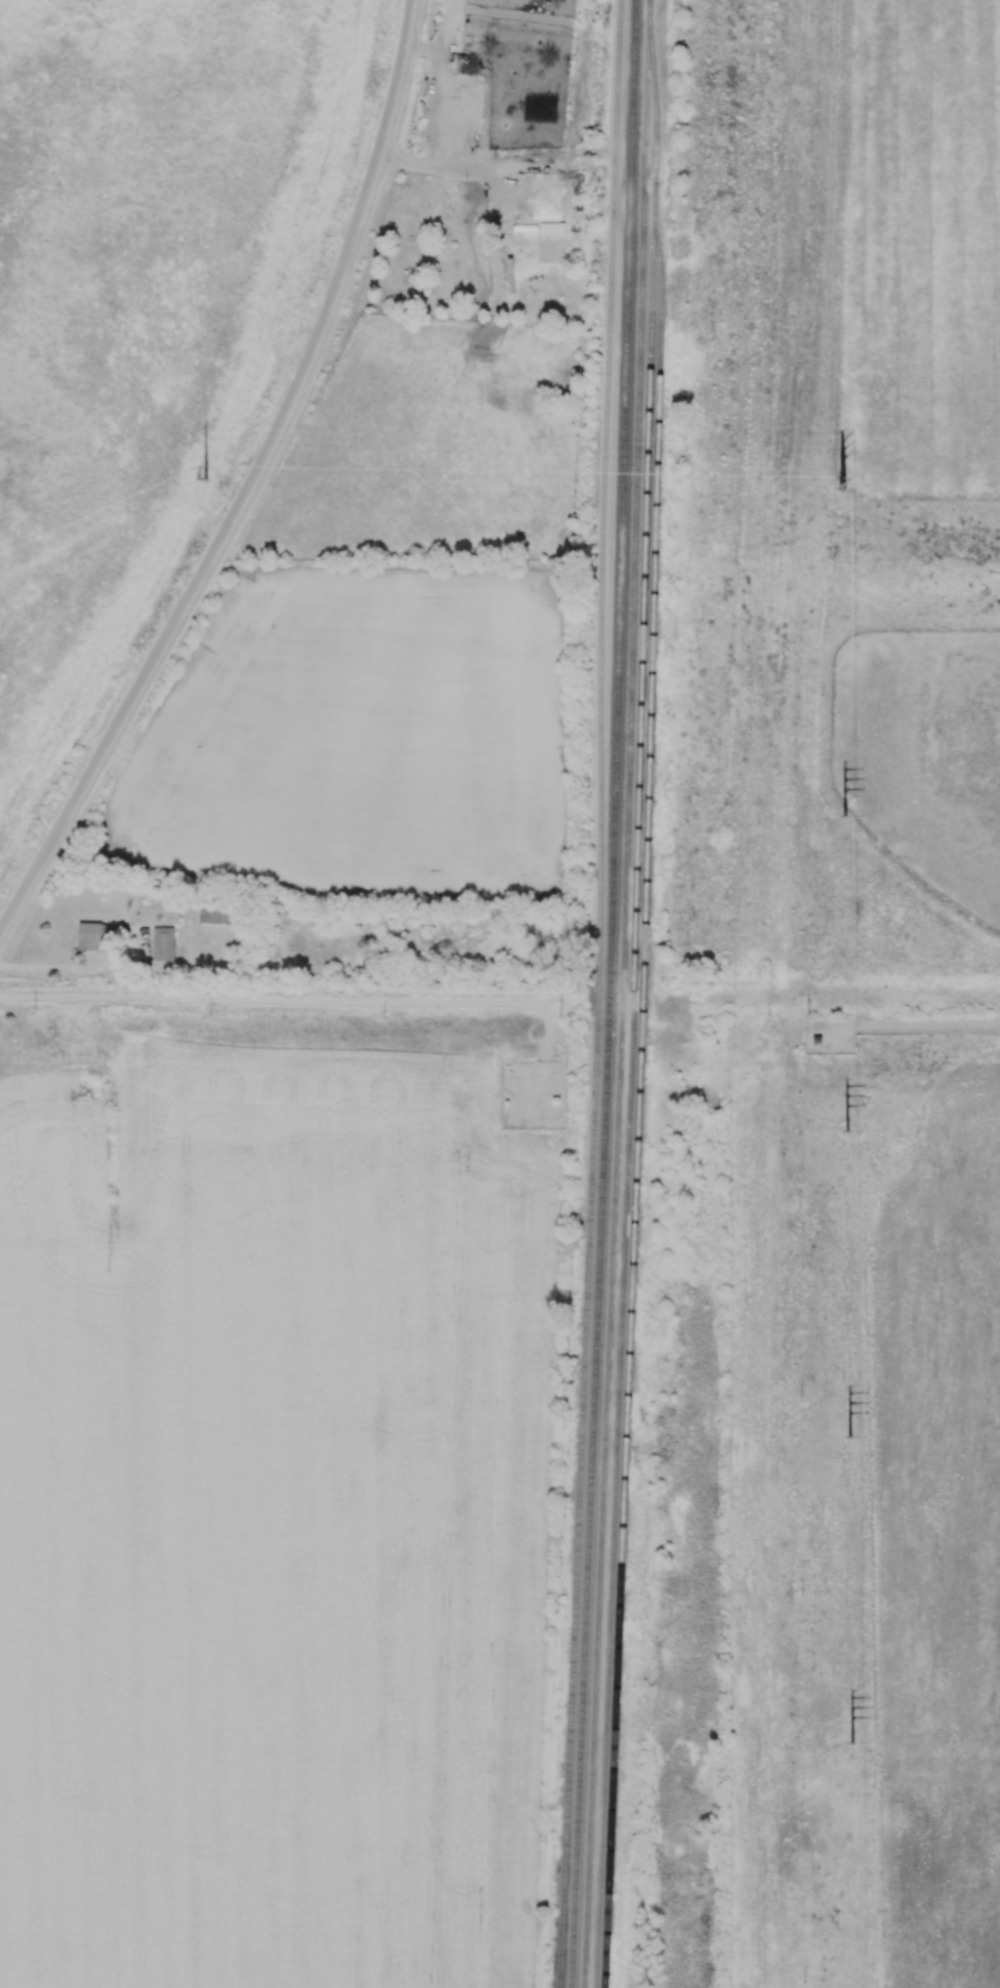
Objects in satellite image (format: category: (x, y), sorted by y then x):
power tower: (205, 475)
power tower: (839, 487)
road: (251, 488)
power tower: (842, 814)
railway: (643, 993)
railway: (601, 994)
railway: (611, 994)
railway: (624, 994)
road: (272, 997)
road: (852, 998)
railway: (629, 1121)
power tower: (843, 1132)
power tower: (848, 1435)
power tower: (849, 1746)

